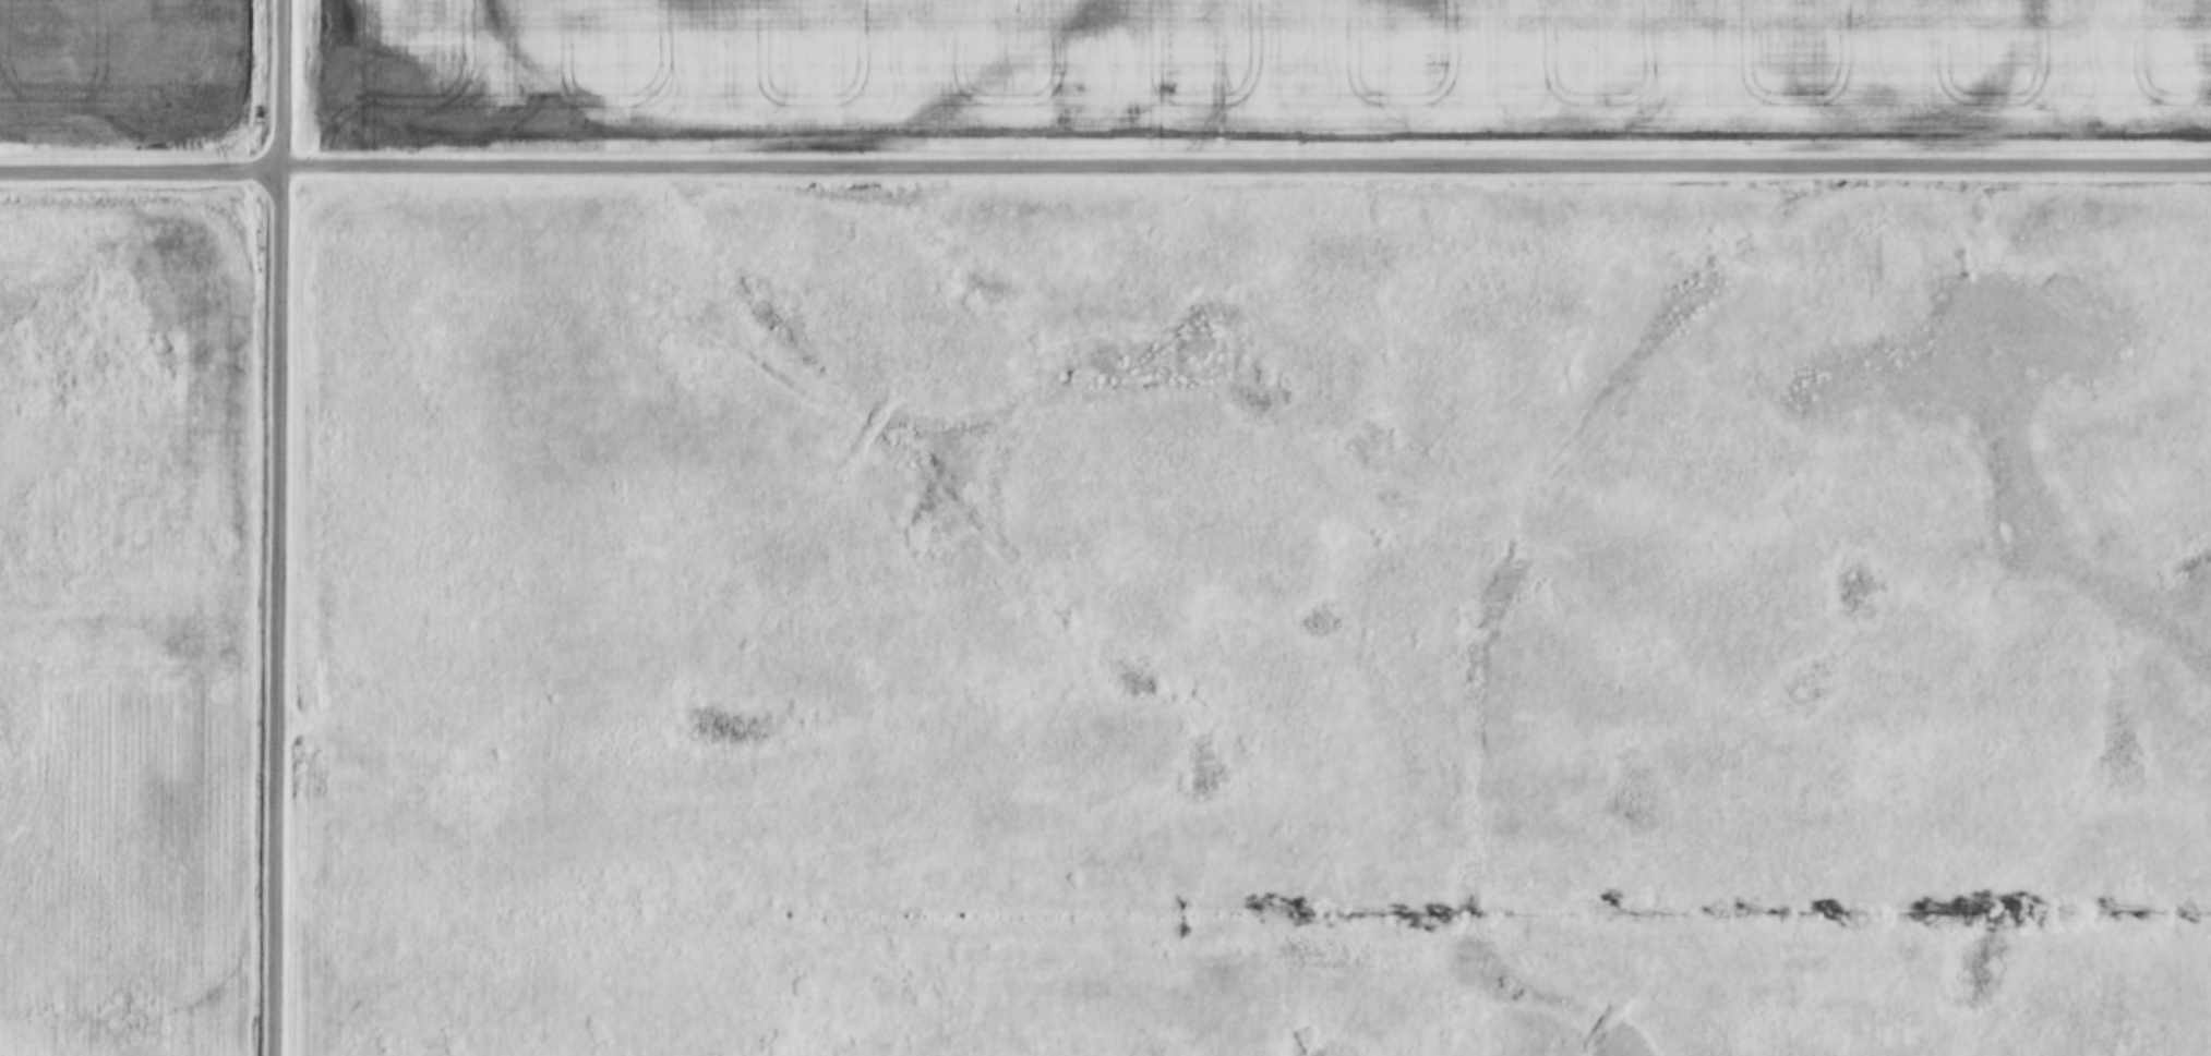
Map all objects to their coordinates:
road: (1105, 163)
road: (283, 527)

